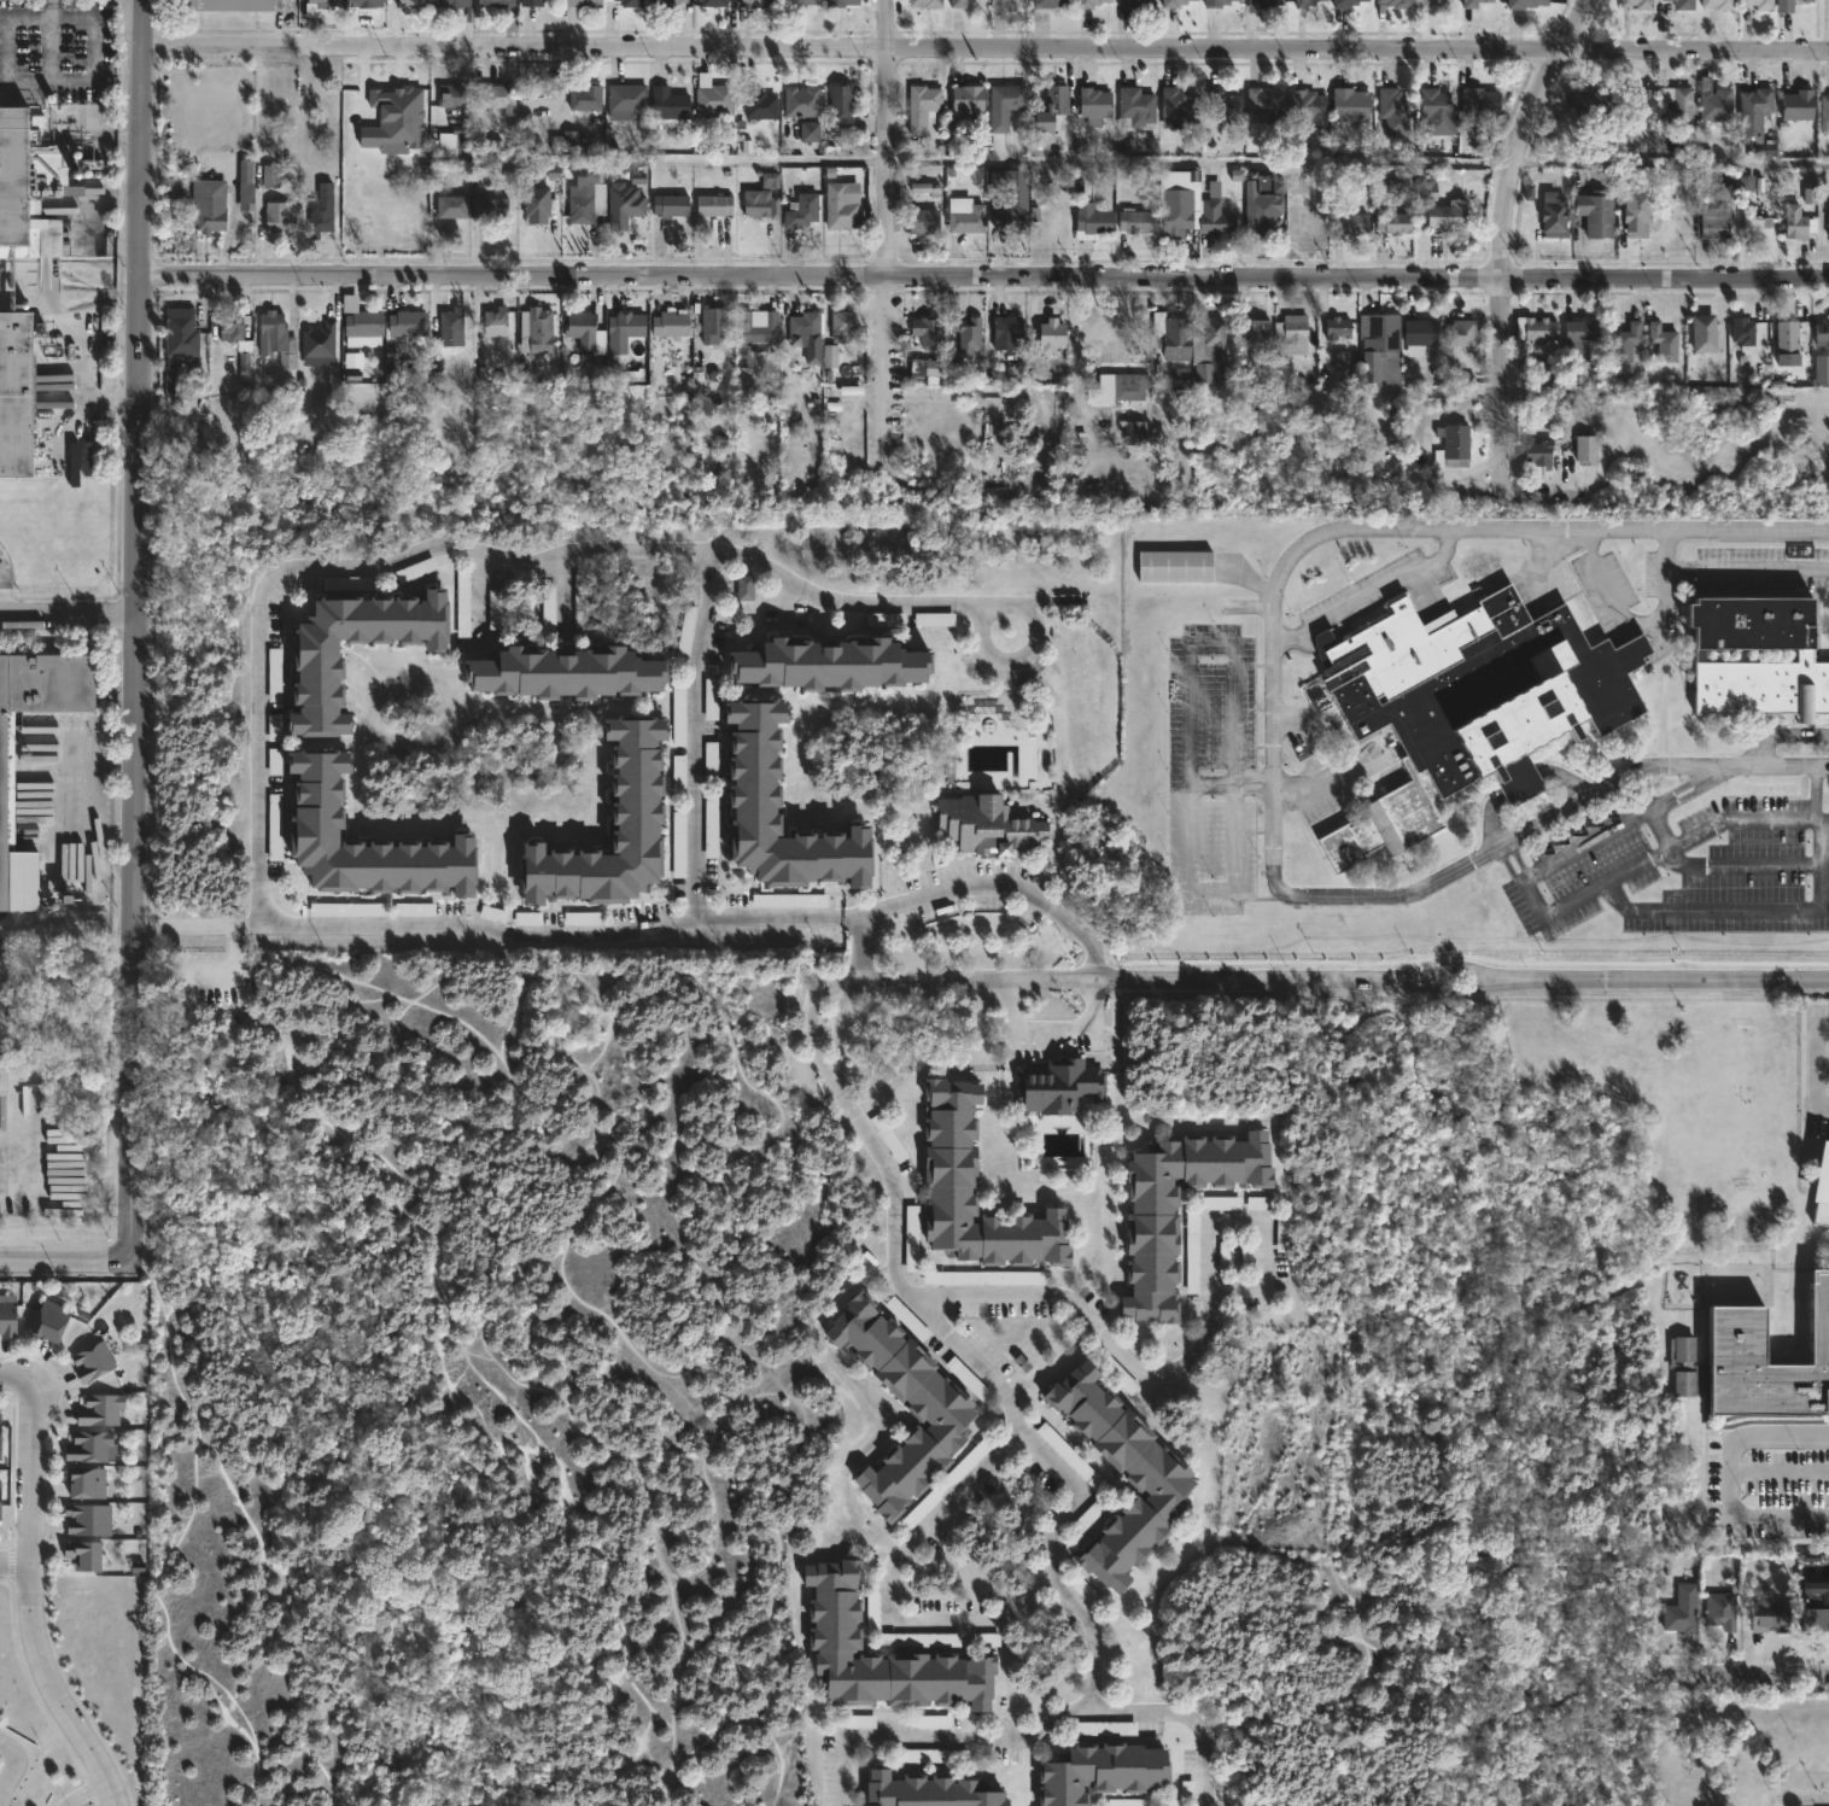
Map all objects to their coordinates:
building: (1238, 0)
building: (1678, 0)
building: (1806, 0)
building: (363, 2)
building: (410, 2)
building: (450, 2)
building: (495, 2)
building: (531, 2)
building: (668, 2)
building: (713, 2)
building: (755, 2)
building: (802, 2)
building: (840, 2)
building: (1009, 2)
building: (1091, 2)
building: (1138, 2)
building: (1174, 2)
building: (1305, 2)
building: (1345, 2)
building: (319, 4)
building: (630, 4)
building: (925, 4)
building: (958, 4)
building: (1050, 4)
building: (1215, 4)
building: (1397, 4)
building: (1432, 4)
building: (1473, 4)
building: (1525, 4)
building: (1637, 4)
building: (1719, 4)
building: (1760, 4)
building: (226, 5)
building: (1262, 5)
building: (1784, 6)
building: (578, 7)
road: (51, 8)
road: (24, 17)
road: (984, 46)
road: (5, 49)
road: (93, 78)
building: (586, 94)
building: (449, 95)
building: (499, 98)
building: (626, 98)
building: (713, 101)
building: (801, 101)
building: (968, 101)
building: (1716, 101)
building: (1480, 103)
building: (1591, 103)
building: (668, 104)
building: (1677, 104)
building: (760, 105)
building: (1005, 105)
building: (1094, 105)
building: (1266, 105)
building: (1350, 105)
building: (1637, 105)
building: (1800, 105)
building: (1136, 106)
building: (1225, 106)
building: (841, 107)
building: (923, 107)
building: (1052, 107)
building: (1178, 107)
building: (1308, 110)
building: (1393, 111)
building: (1437, 111)
building: (1755, 113)
building: (1825, 113)
building: (811, 131)
road: (139, 138)
road: (1198, 159)
building: (45, 174)
road: (1504, 174)
building: (271, 176)
building: (922, 189)
building: (585, 195)
building: (539, 203)
building: (1013, 203)
building: (671, 205)
building: (714, 205)
building: (841, 205)
building: (451, 206)
building: (623, 206)
building: (760, 206)
building: (490, 208)
road: (888, 210)
building: (801, 211)
building: (1638, 211)
building: (320, 212)
building: (1262, 212)
building: (1597, 214)
building: (204, 215)
building: (276, 216)
building: (965, 216)
building: (1449, 216)
building: (1554, 216)
building: (1176, 220)
building: (1215, 220)
building: (923, 221)
building: (1092, 222)
building: (1136, 222)
building: (1393, 222)
building: (1714, 222)
building: (1349, 223)
building: (1796, 224)
building: (1758, 228)
road: (983, 275)
building: (270, 323)
building: (407, 323)
building: (495, 323)
building: (712, 325)
building: (229, 326)
building: (842, 326)
building: (450, 327)
building: (625, 327)
building: (668, 327)
building: (802, 327)
building: (362, 328)
building: (1337, 328)
building: (537, 329)
building: (758, 329)
building: (1582, 329)
building: (1742, 329)
building: (1541, 331)
building: (180, 332)
building: (585, 332)
building: (927, 332)
building: (1258, 332)
building: (1421, 332)
building: (1704, 332)
building: (1006, 333)
building: (1463, 333)
building: (1823, 333)
building: (1291, 335)
building: (1051, 337)
building: (963, 338)
building: (317, 341)
building: (1378, 341)
building: (1788, 341)
building: (1188, 343)
building: (1626, 343)
building: (1664, 343)
building: (287, 352)
building: (831, 361)
building: (1822, 369)
building: (925, 372)
building: (173, 381)
building: (14, 396)
building: (1130, 403)
road: (1502, 422)
building: (1456, 443)
building: (1587, 449)
building: (1541, 452)
building: (1174, 566)
building: (746, 589)
road: (479, 596)
road: (562, 596)
building: (771, 604)
road: (68, 615)
road: (259, 653)
building: (1804, 654)
road: (1011, 659)
building: (316, 660)
building: (828, 665)
building: (560, 676)
building: (1468, 702)
road: (695, 732)
road: (1275, 742)
road: (133, 762)
road: (1711, 773)
building: (5, 787)
building: (750, 797)
road: (1675, 802)
building: (632, 818)
building: (986, 824)
building: (312, 825)
road: (1661, 829)
road: (1742, 866)
road: (1519, 877)
road: (1524, 879)
road: (1608, 883)
road: (968, 888)
road: (1754, 912)
road: (852, 918)
road: (180, 922)
road: (235, 923)
road: (250, 923)
railway: (47, 939)
road: (229, 953)
road: (1346, 976)
road: (852, 981)
parking lot: (217, 982)
building: (1, 1001)
road: (1053, 1023)
road: (814, 1035)
road: (837, 1036)
road: (1818, 1066)
building: (1059, 1086)
building: (889, 1139)
building: (946, 1167)
road: (724, 1174)
building: (1819, 1202)
building: (1222, 1204)
building: (1261, 1205)
road: (16, 1220)
road: (1262, 1226)
building: (1150, 1233)
building: (1284, 1234)
road: (66, 1262)
building: (6, 1319)
building: (48, 1321)
road: (1097, 1325)
building: (1737, 1335)
building: (1684, 1349)
building: (92, 1362)
road: (11, 1380)
park: (471, 1383)
building: (1684, 1384)
building: (100, 1409)
building: (941, 1410)
park: (1443, 1424)
building: (0, 1438)
building: (87, 1446)
road: (1730, 1472)
road: (1780, 1472)
building: (1155, 1478)
building: (86, 1483)
building: (0, 1503)
road: (949, 1508)
building: (84, 1518)
building: (80, 1553)
road: (12, 1565)
road: (28, 1602)
building: (1816, 1605)
building: (1683, 1611)
building: (1722, 1611)
building: (1769, 1613)
building: (831, 1637)
road: (1743, 1673)
road: (671, 1685)
road: (1184, 1717)
road: (1017, 1740)
road: (12, 1757)
building: (1099, 1771)
building: (925, 1790)
road: (84, 1795)

